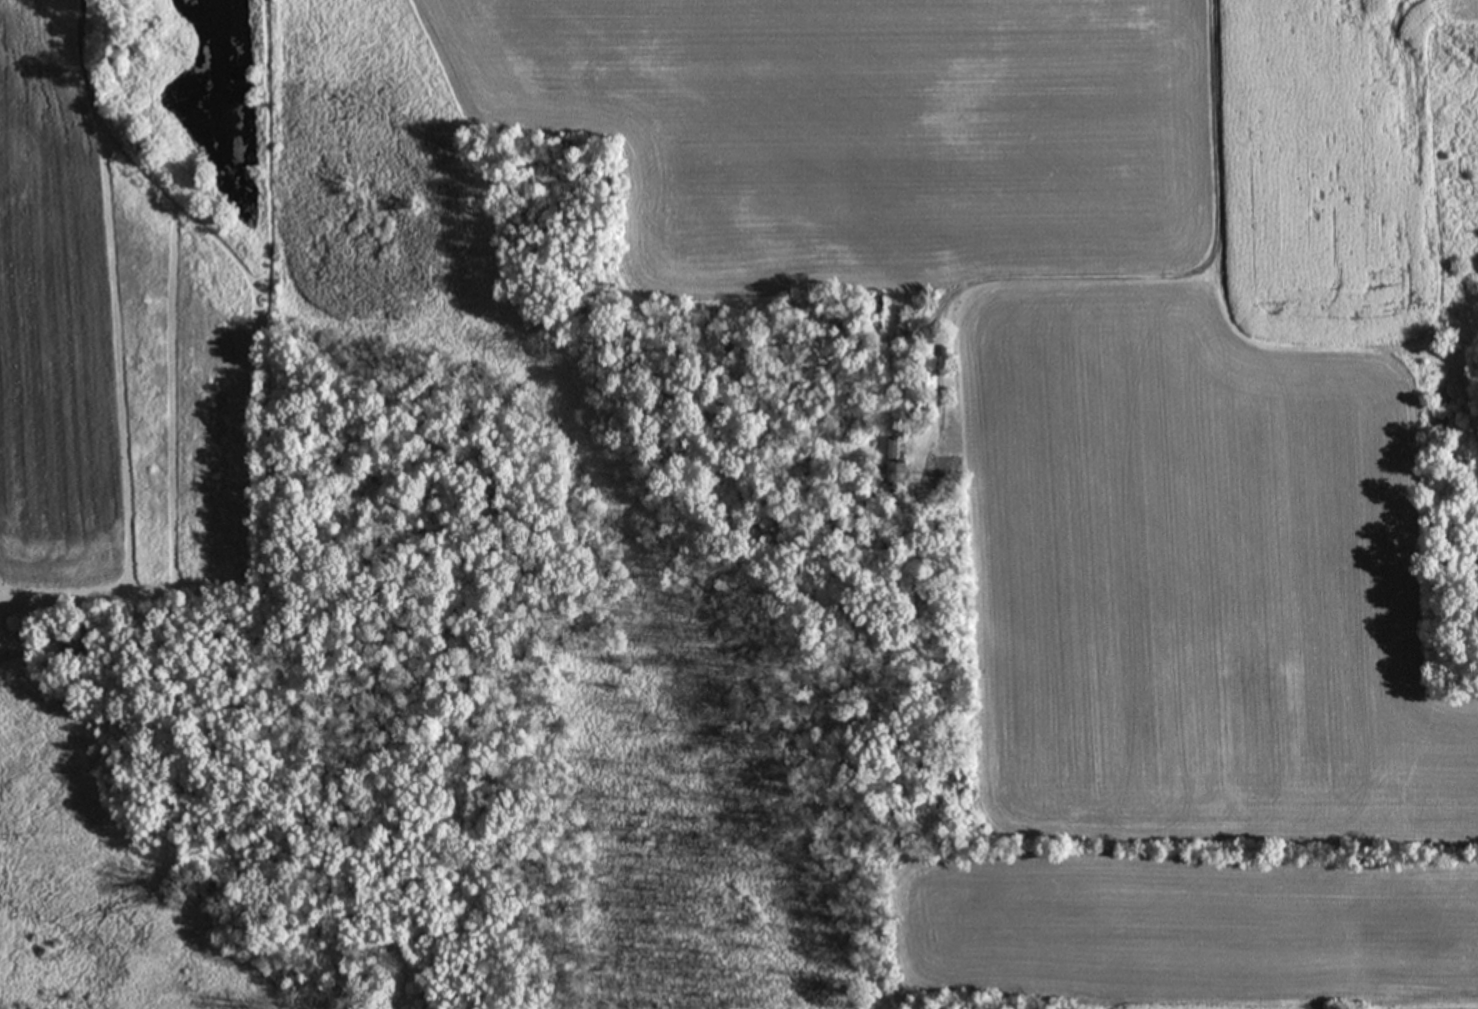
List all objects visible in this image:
road: (1172, 272)
building: (882, 315)
building: (897, 462)

